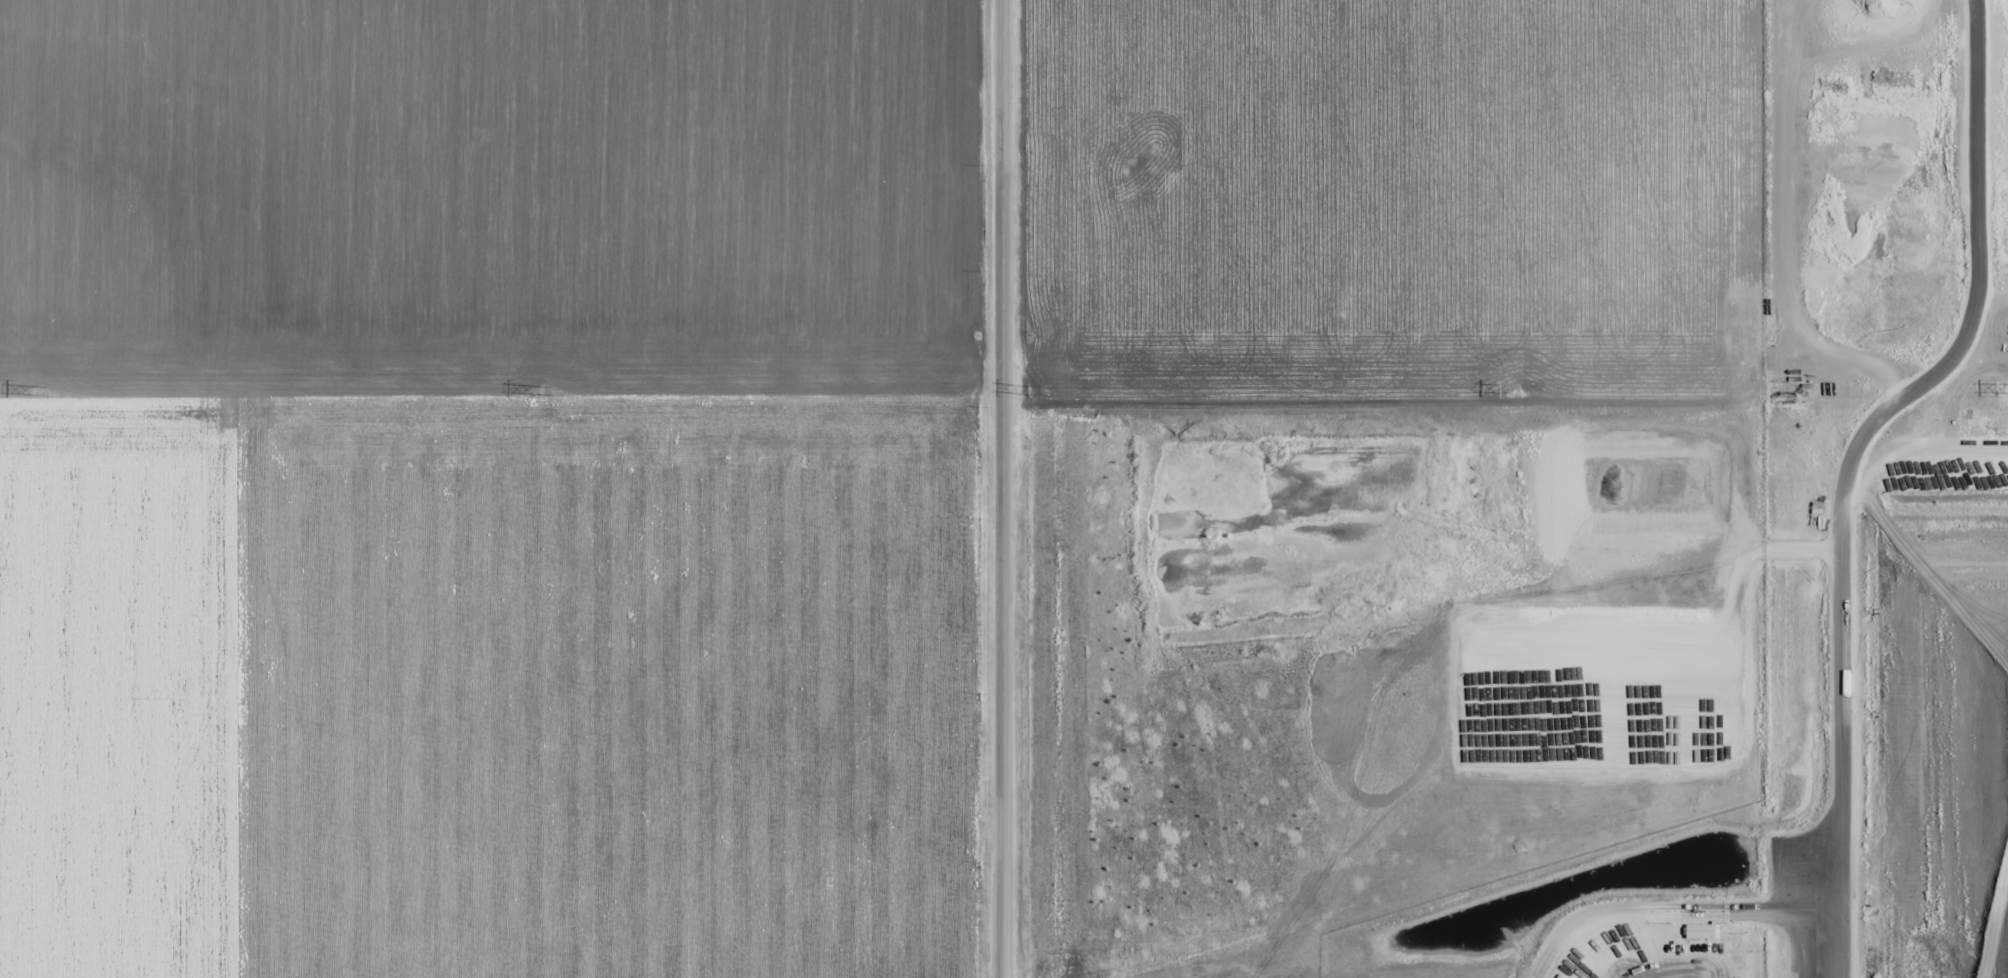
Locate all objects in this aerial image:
power tower: (542, 389)
power tower: (1029, 389)
power tower: (1518, 389)
power tower: (41, 391)
road: (498, 399)
road: (997, 488)

